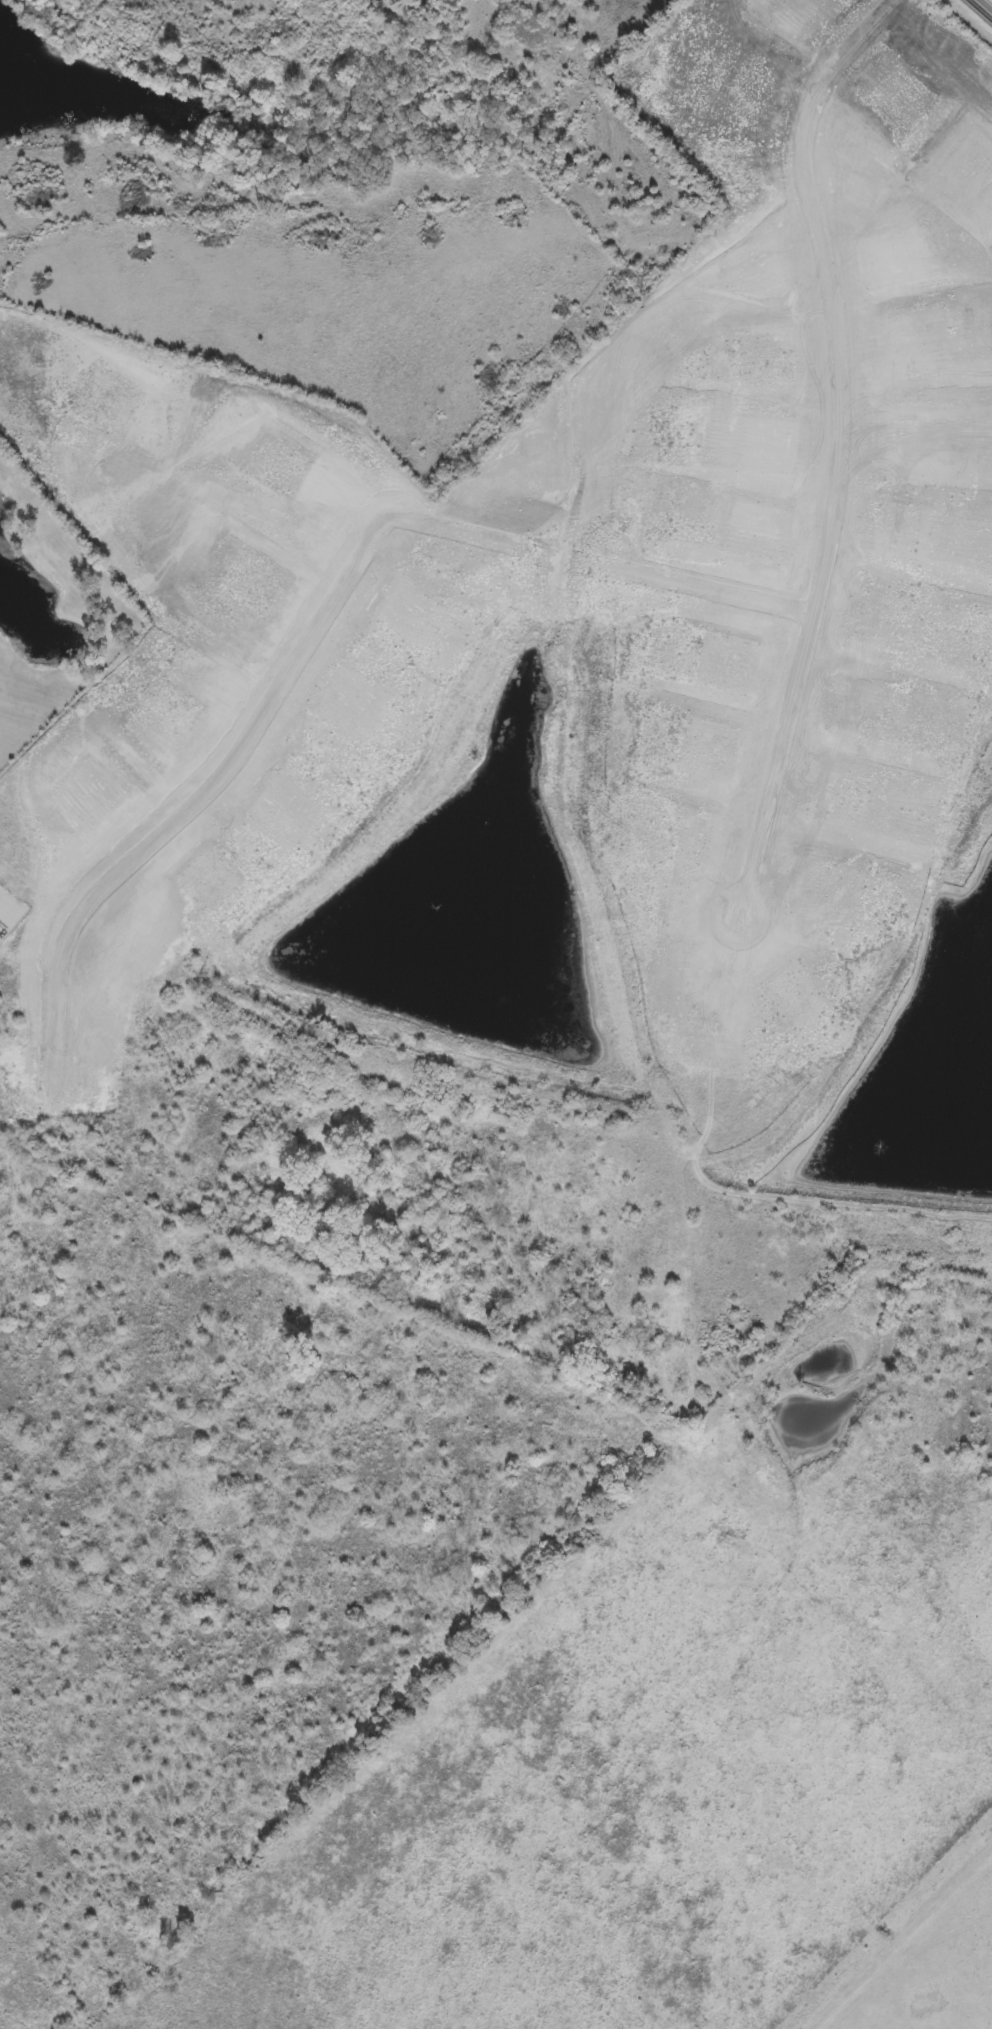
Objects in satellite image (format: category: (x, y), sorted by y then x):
road: (978, 13)

